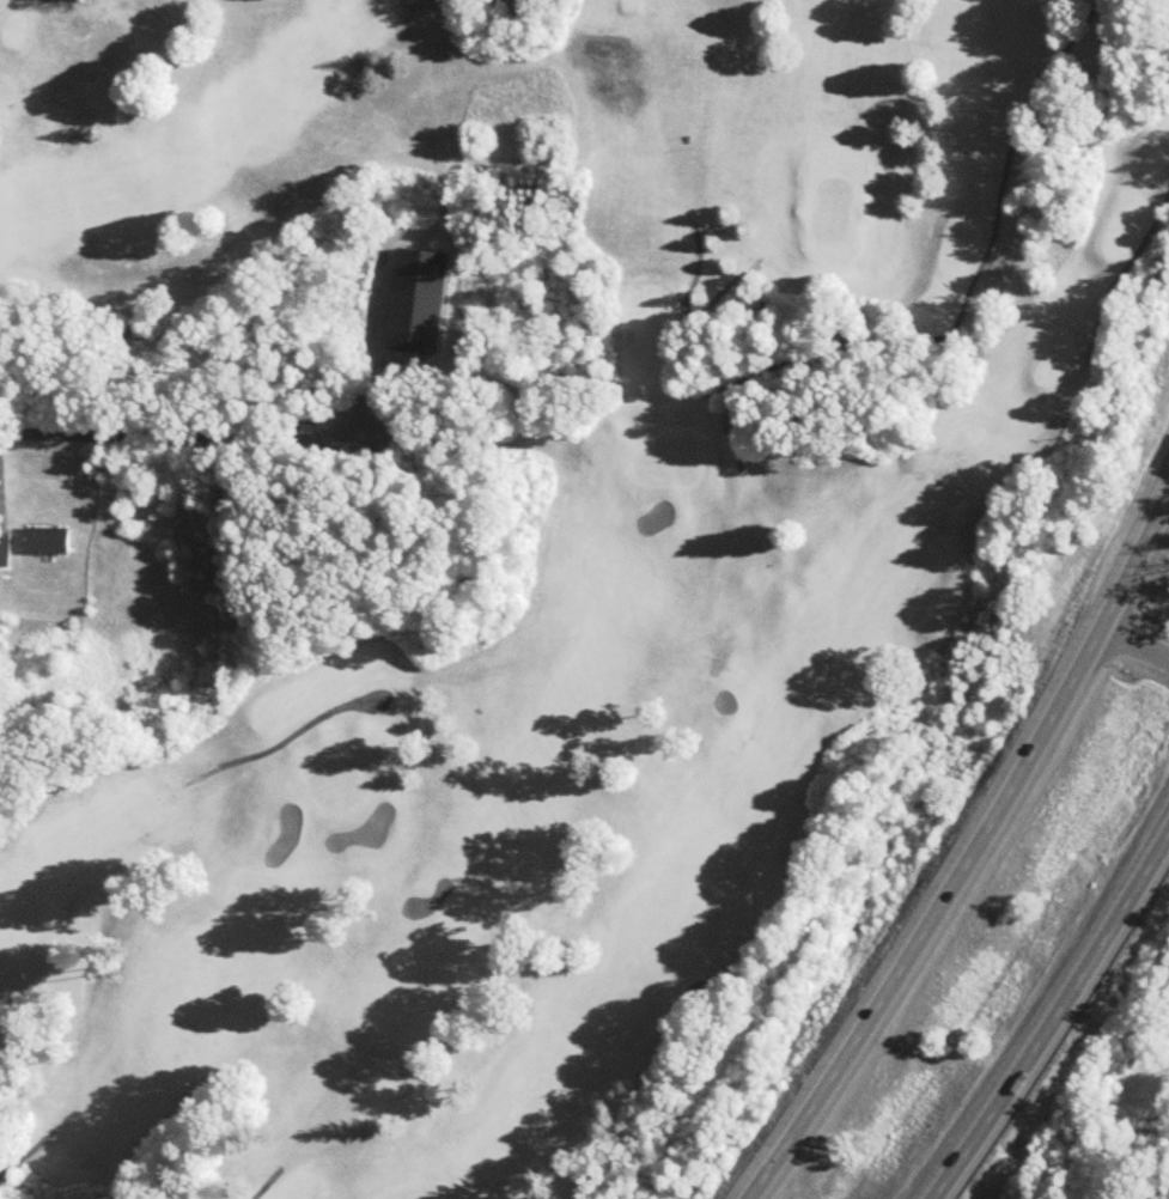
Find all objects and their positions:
road: (197, 428)
park: (506, 542)
building: (48, 543)
building: (6, 553)
road: (1134, 645)
road: (975, 858)
road: (1058, 1022)

